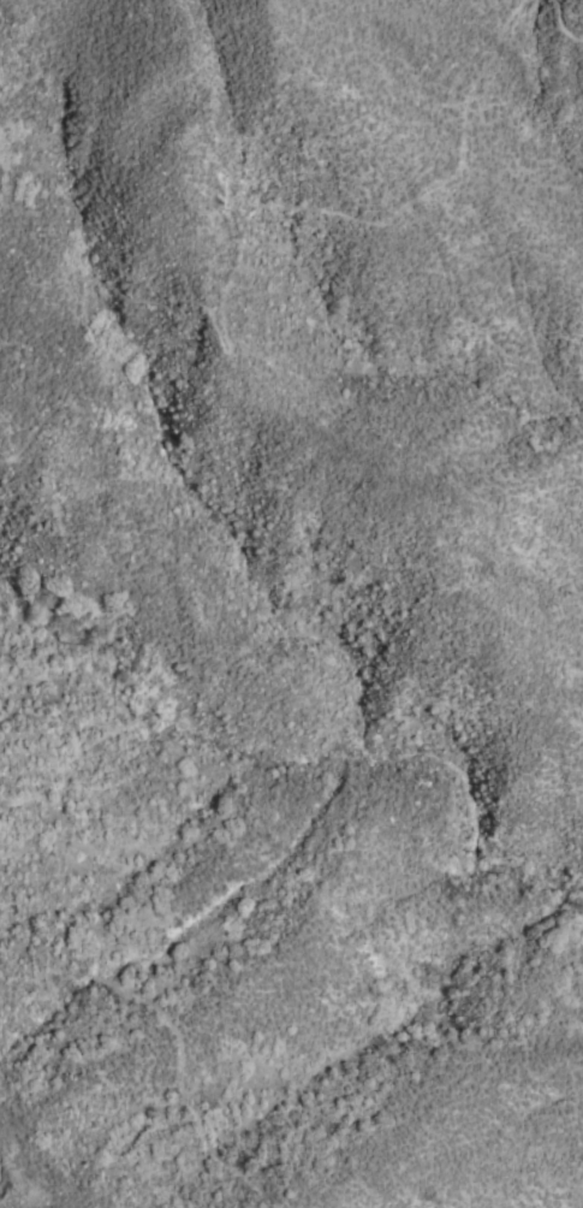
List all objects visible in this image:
road: (560, 25)
road: (225, 292)
road: (109, 987)
road: (0, 1150)

